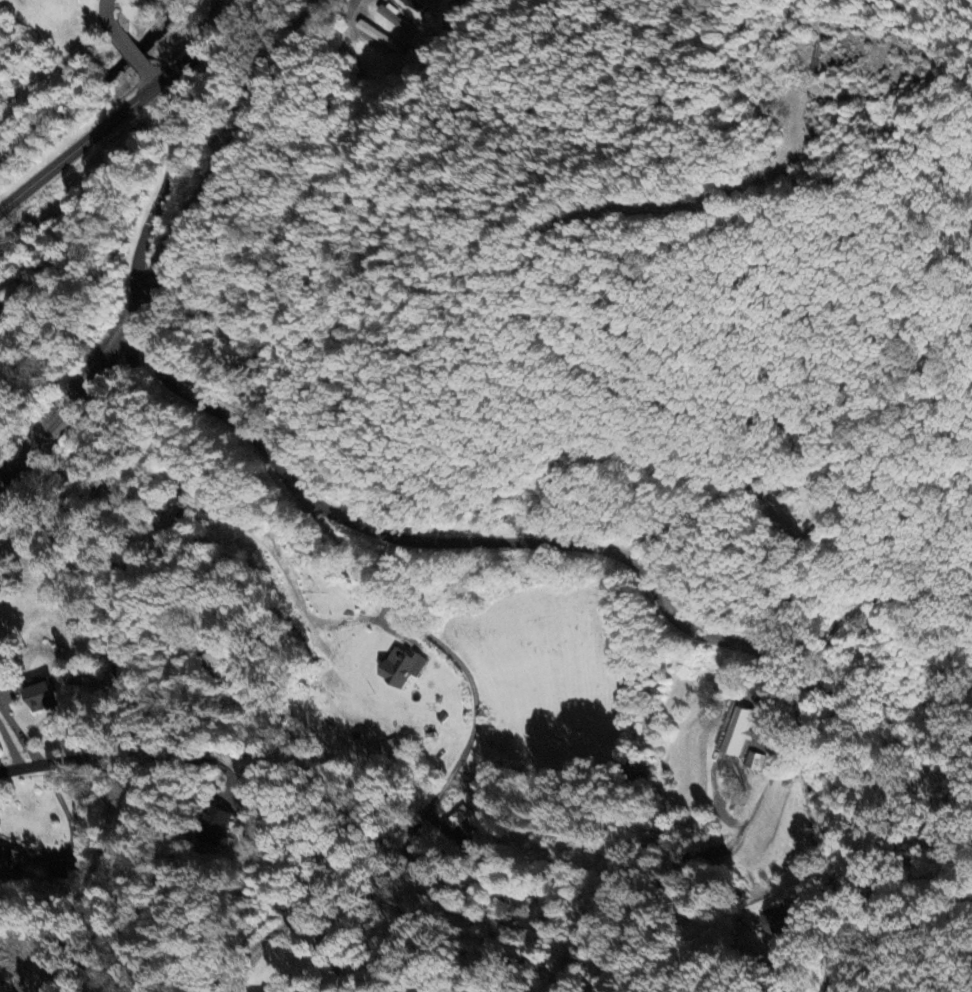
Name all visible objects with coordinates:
building: (410, 4)
road: (359, 6)
building: (392, 17)
road: (108, 18)
building: (378, 38)
road: (129, 52)
road: (148, 77)
road: (126, 107)
railway: (177, 250)
park: (222, 344)
building: (819, 479)
road: (416, 541)
road: (141, 583)
building: (399, 667)
building: (38, 695)
building: (737, 732)
road: (467, 741)
building: (753, 761)
road: (161, 784)
road: (66, 814)
building: (460, 820)
road: (813, 822)
building: (216, 825)
building: (10, 859)
building: (61, 869)
building: (780, 920)

